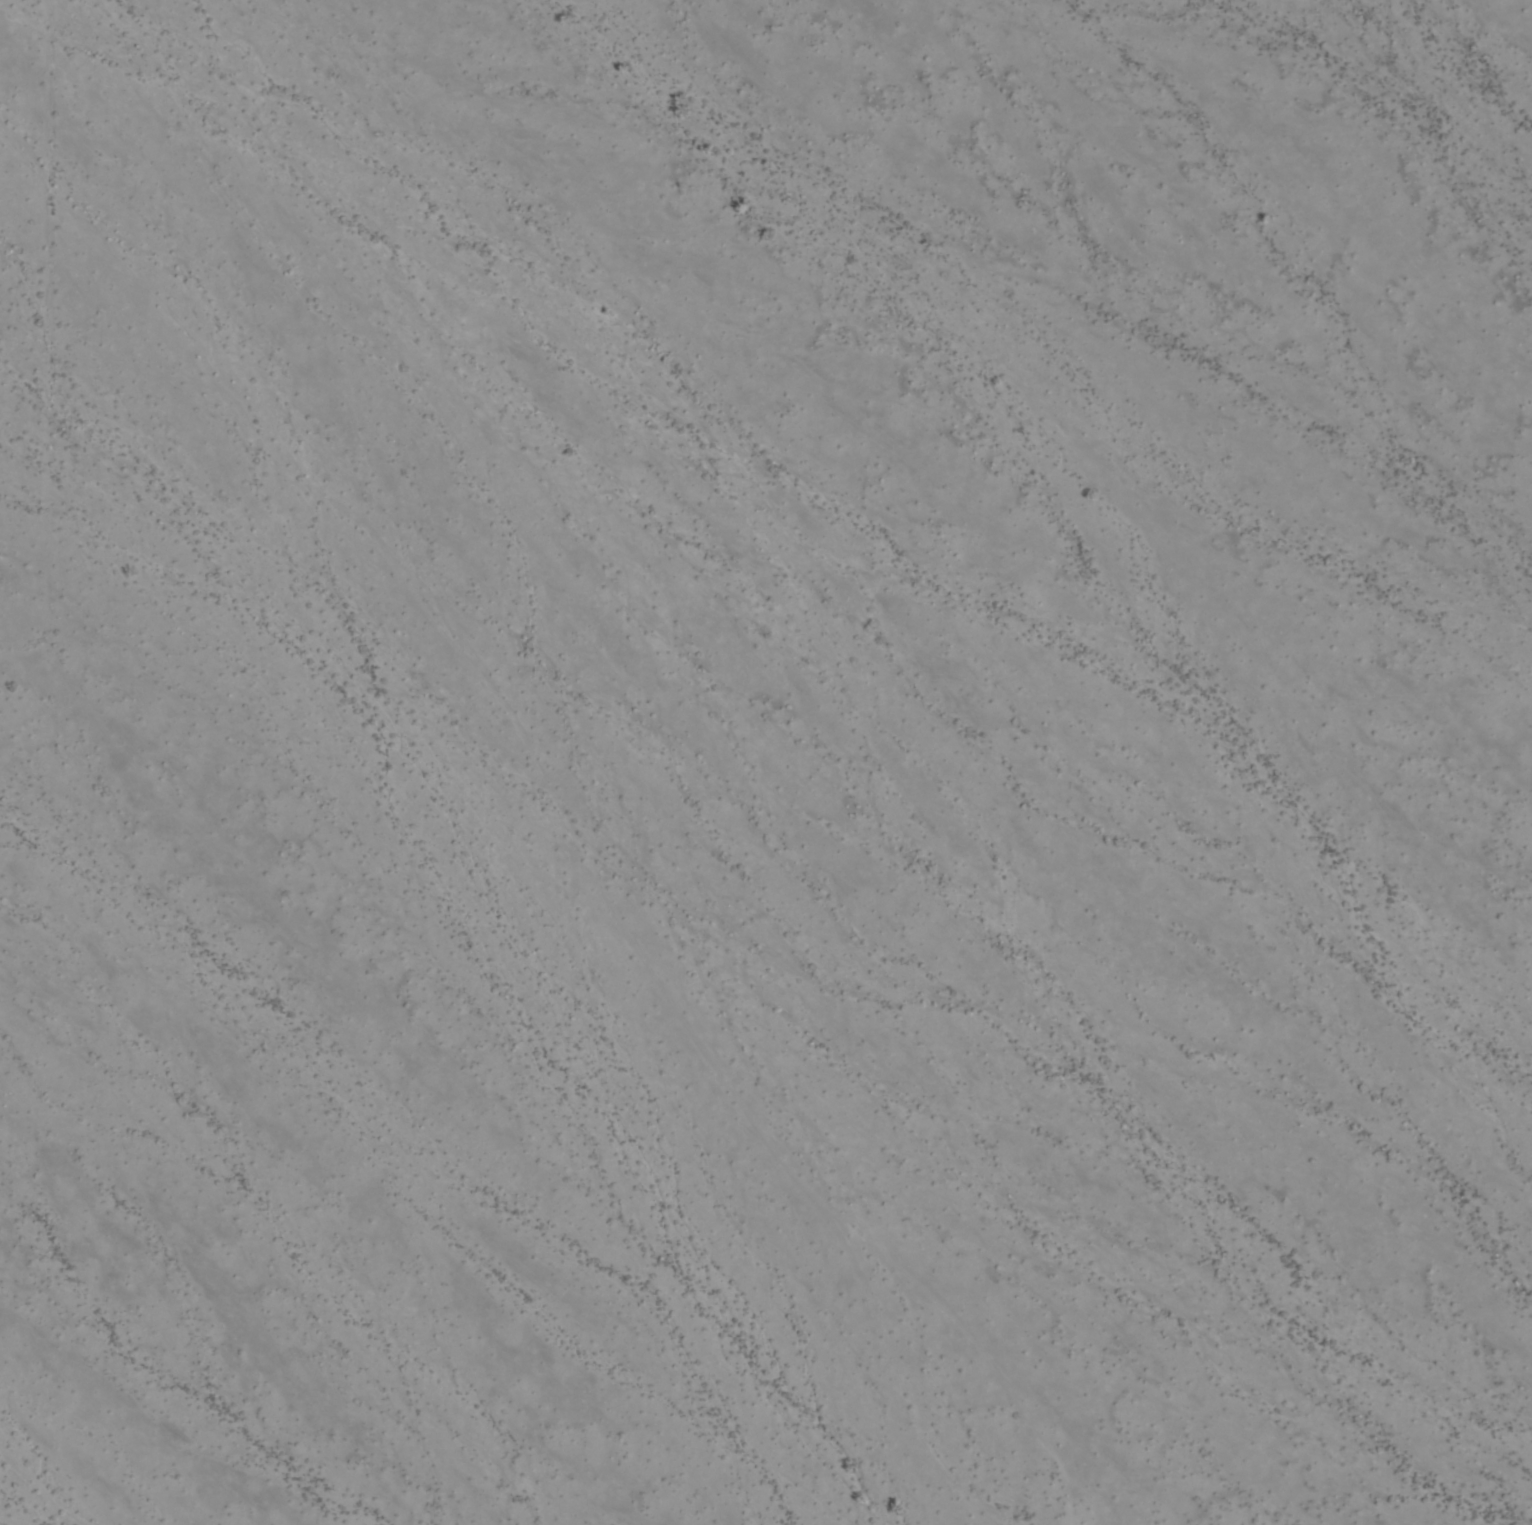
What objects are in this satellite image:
road: (7, 132)
road: (3, 218)

